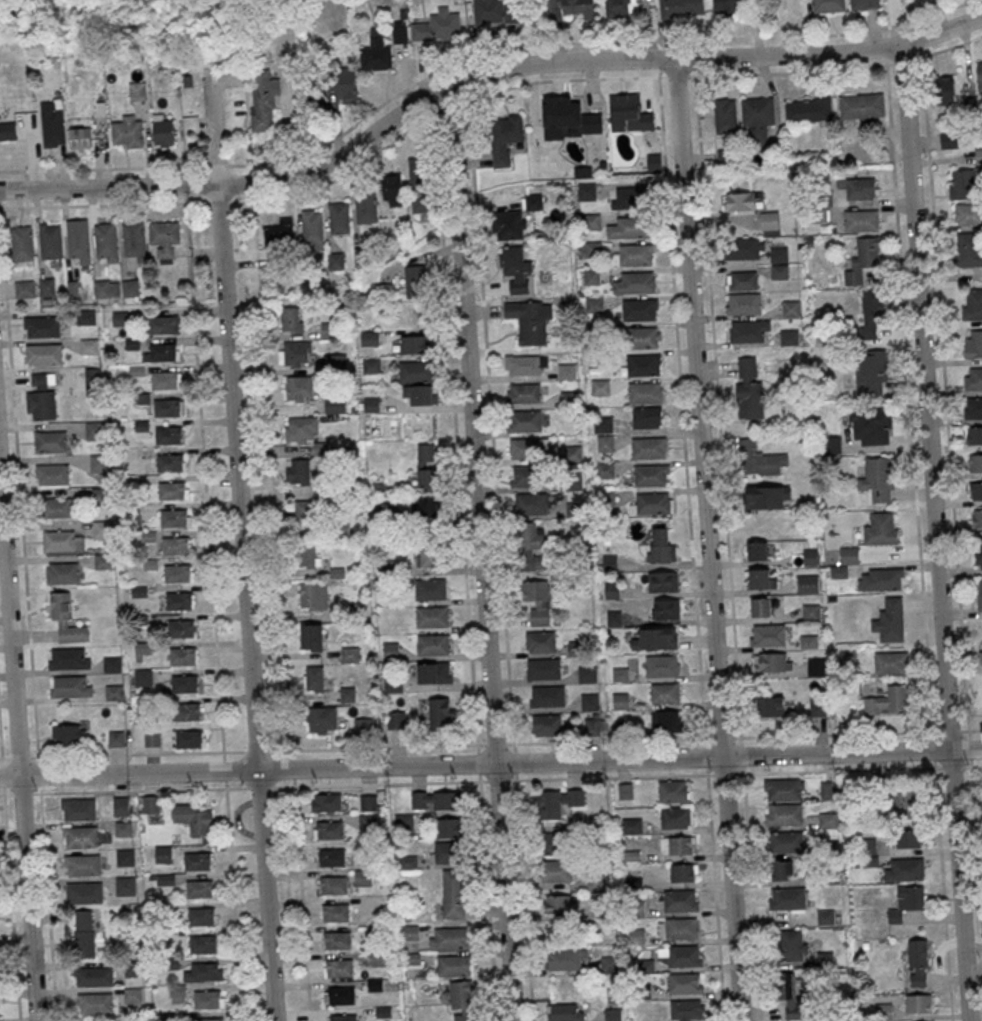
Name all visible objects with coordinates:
park: (216, 3)
building: (864, 5)
building: (727, 6)
building: (829, 6)
building: (569, 8)
building: (682, 8)
building: (622, 9)
building: (497, 12)
park: (276, 17)
building: (438, 26)
building: (400, 32)
park: (103, 36)
road: (565, 41)
building: (376, 52)
road: (790, 72)
road: (480, 76)
building: (979, 76)
road: (529, 82)
building: (346, 85)
building: (944, 90)
building: (138, 91)
building: (263, 99)
building: (862, 107)
building: (808, 111)
building: (630, 116)
building: (725, 117)
building: (567, 118)
building: (757, 119)
building: (53, 122)
building: (191, 125)
building: (163, 130)
building: (128, 131)
building: (8, 132)
road: (250, 136)
building: (80, 138)
building: (505, 138)
building: (949, 140)
building: (978, 155)
building: (724, 157)
building: (419, 172)
road: (337, 178)
building: (962, 183)
building: (861, 188)
building: (393, 190)
building: (586, 191)
building: (630, 197)
building: (533, 201)
building: (740, 201)
building: (420, 204)
building: (366, 208)
building: (968, 214)
building: (339, 217)
building: (592, 220)
building: (861, 220)
building: (769, 221)
building: (509, 225)
building: (312, 226)
building: (630, 227)
building: (280, 233)
building: (164, 237)
building: (134, 240)
building: (50, 241)
building: (78, 241)
building: (106, 241)
building: (22, 243)
building: (593, 248)
building: (747, 248)
building: (968, 249)
building: (636, 254)
building: (778, 254)
building: (363, 255)
building: (863, 260)
building: (336, 261)
building: (516, 269)
building: (779, 271)
building: (591, 277)
road: (4, 278)
building: (741, 280)
building: (417, 281)
building: (635, 283)
building: (47, 286)
building: (131, 287)
building: (25, 288)
building: (103, 288)
building: (744, 303)
building: (594, 304)
building: (973, 304)
building: (791, 308)
building: (640, 309)
building: (869, 314)
building: (86, 317)
building: (121, 318)
building: (291, 319)
building: (530, 320)
building: (163, 324)
building: (42, 326)
building: (749, 331)
building: (788, 336)
building: (642, 337)
building: (370, 338)
building: (414, 344)
building: (973, 344)
building: (88, 345)
building: (163, 352)
building: (44, 353)
building: (295, 354)
building: (598, 358)
building: (337, 362)
building: (524, 364)
building: (371, 365)
building: (644, 365)
building: (415, 371)
building: (567, 371)
building: (868, 374)
building: (973, 378)
building: (164, 379)
road: (944, 379)
building: (92, 381)
building: (601, 387)
building: (749, 387)
building: (299, 388)
building: (524, 392)
building: (645, 393)
building: (421, 394)
building: (42, 397)
road: (909, 397)
building: (570, 398)
building: (335, 405)
building: (371, 405)
road: (681, 406)
building: (166, 407)
building: (973, 408)
building: (647, 417)
building: (525, 420)
building: (603, 424)
road: (719, 425)
building: (870, 426)
building: (142, 429)
building: (301, 429)
building: (94, 430)
building: (169, 435)
building: (973, 435)
building: (51, 442)
road: (492, 442)
building: (606, 442)
building: (831, 445)
building: (529, 447)
building: (649, 448)
building: (759, 459)
road: (271, 460)
building: (98, 462)
building: (170, 462)
building: (975, 463)
building: (427, 466)
building: (298, 472)
building: (52, 474)
building: (651, 475)
building: (524, 476)
road: (204, 477)
building: (878, 481)
building: (172, 490)
building: (976, 490)
building: (99, 495)
building: (768, 497)
building: (652, 503)
building: (527, 504)
building: (57, 507)
building: (429, 507)
building: (304, 513)
building: (173, 517)
building: (977, 518)
building: (101, 529)
building: (881, 531)
road: (934, 533)
building: (148, 536)
road: (707, 539)
building: (62, 540)
building: (175, 545)
building: (531, 545)
building: (661, 546)
road: (242, 551)
building: (755, 551)
building: (979, 553)
building: (308, 554)
road: (480, 554)
building: (428, 555)
building: (849, 556)
building: (810, 557)
building: (103, 561)
building: (149, 564)
road: (464, 570)
building: (62, 573)
building: (178, 573)
building: (761, 578)
building: (881, 579)
building: (663, 581)
building: (807, 583)
building: (431, 588)
building: (139, 591)
building: (980, 594)
building: (313, 596)
building: (179, 600)
building: (538, 601)
building: (760, 607)
building: (665, 609)
building: (811, 612)
building: (432, 616)
building: (65, 618)
building: (140, 619)
building: (890, 620)
building: (181, 628)
building: (768, 635)
building: (312, 637)
building: (656, 639)
building: (540, 641)
building: (809, 641)
building: (433, 644)
building: (143, 647)
building: (980, 653)
building: (350, 654)
building: (182, 655)
building: (848, 657)
building: (69, 659)
building: (774, 662)
building: (112, 664)
building: (891, 664)
building: (663, 666)
building: (816, 666)
building: (543, 669)
building: (434, 673)
building: (588, 674)
building: (143, 677)
building: (314, 678)
building: (185, 684)
building: (393, 684)
building: (70, 687)
building: (113, 692)
building: (665, 693)
building: (347, 695)
building: (548, 696)
building: (590, 701)
building: (621, 701)
building: (888, 702)
building: (771, 706)
building: (818, 707)
building: (187, 711)
building: (442, 712)
building: (322, 720)
building: (396, 720)
building: (666, 721)
building: (363, 725)
building: (547, 725)
building: (596, 726)
road: (861, 733)
building: (69, 735)
building: (116, 738)
building: (152, 738)
building: (189, 739)
road: (482, 744)
road: (0, 749)
road: (223, 751)
road: (0, 757)
road: (18, 758)
road: (491, 764)
road: (863, 770)
road: (473, 781)
building: (785, 789)
building: (626, 791)
building: (673, 791)
road: (2, 794)
building: (434, 800)
building: (327, 802)
building: (557, 802)
building: (368, 803)
building: (151, 804)
building: (906, 805)
building: (121, 806)
building: (78, 809)
building: (783, 814)
building: (676, 817)
building: (194, 818)
building: (828, 819)
building: (368, 821)
building: (404, 821)
building: (450, 827)
building: (124, 828)
building: (330, 830)
building: (80, 836)
building: (909, 838)
building: (785, 842)
building: (557, 843)
road: (976, 844)
building: (678, 845)
building: (867, 846)
building: (445, 852)
building: (164, 854)
building: (125, 856)
building: (331, 857)
building: (198, 861)
building: (408, 861)
building: (83, 864)
building: (783, 870)
building: (905, 870)
building: (557, 871)
building: (682, 872)
building: (364, 877)
building: (165, 879)
road: (751, 879)
building: (125, 885)
building: (333, 885)
road: (47, 888)
building: (200, 889)
building: (84, 892)
building: (453, 893)
road: (943, 894)
building: (786, 899)
road: (524, 900)
building: (681, 900)
road: (302, 903)
building: (907, 903)
building: (562, 904)
road: (11, 907)
building: (335, 912)
building: (201, 916)
building: (825, 917)
building: (682, 928)
building: (84, 933)
building: (448, 938)
building: (336, 940)
building: (203, 943)
building: (792, 945)
building: (682, 955)
building: (566, 959)
building: (918, 962)
building: (608, 964)
building: (453, 965)
building: (645, 965)
building: (134, 968)
building: (338, 968)
building: (205, 970)
building: (93, 976)
building: (686, 983)
building: (178, 993)
building: (133, 995)
building: (340, 995)
building: (208, 999)
building: (795, 999)
building: (462, 1000)
building: (95, 1003)
building: (919, 1003)
building: (0, 1006)
building: (687, 1010)
building: (883, 1011)
building: (565, 1012)
building: (613, 1014)
building: (343, 1018)
building: (210, 1019)

